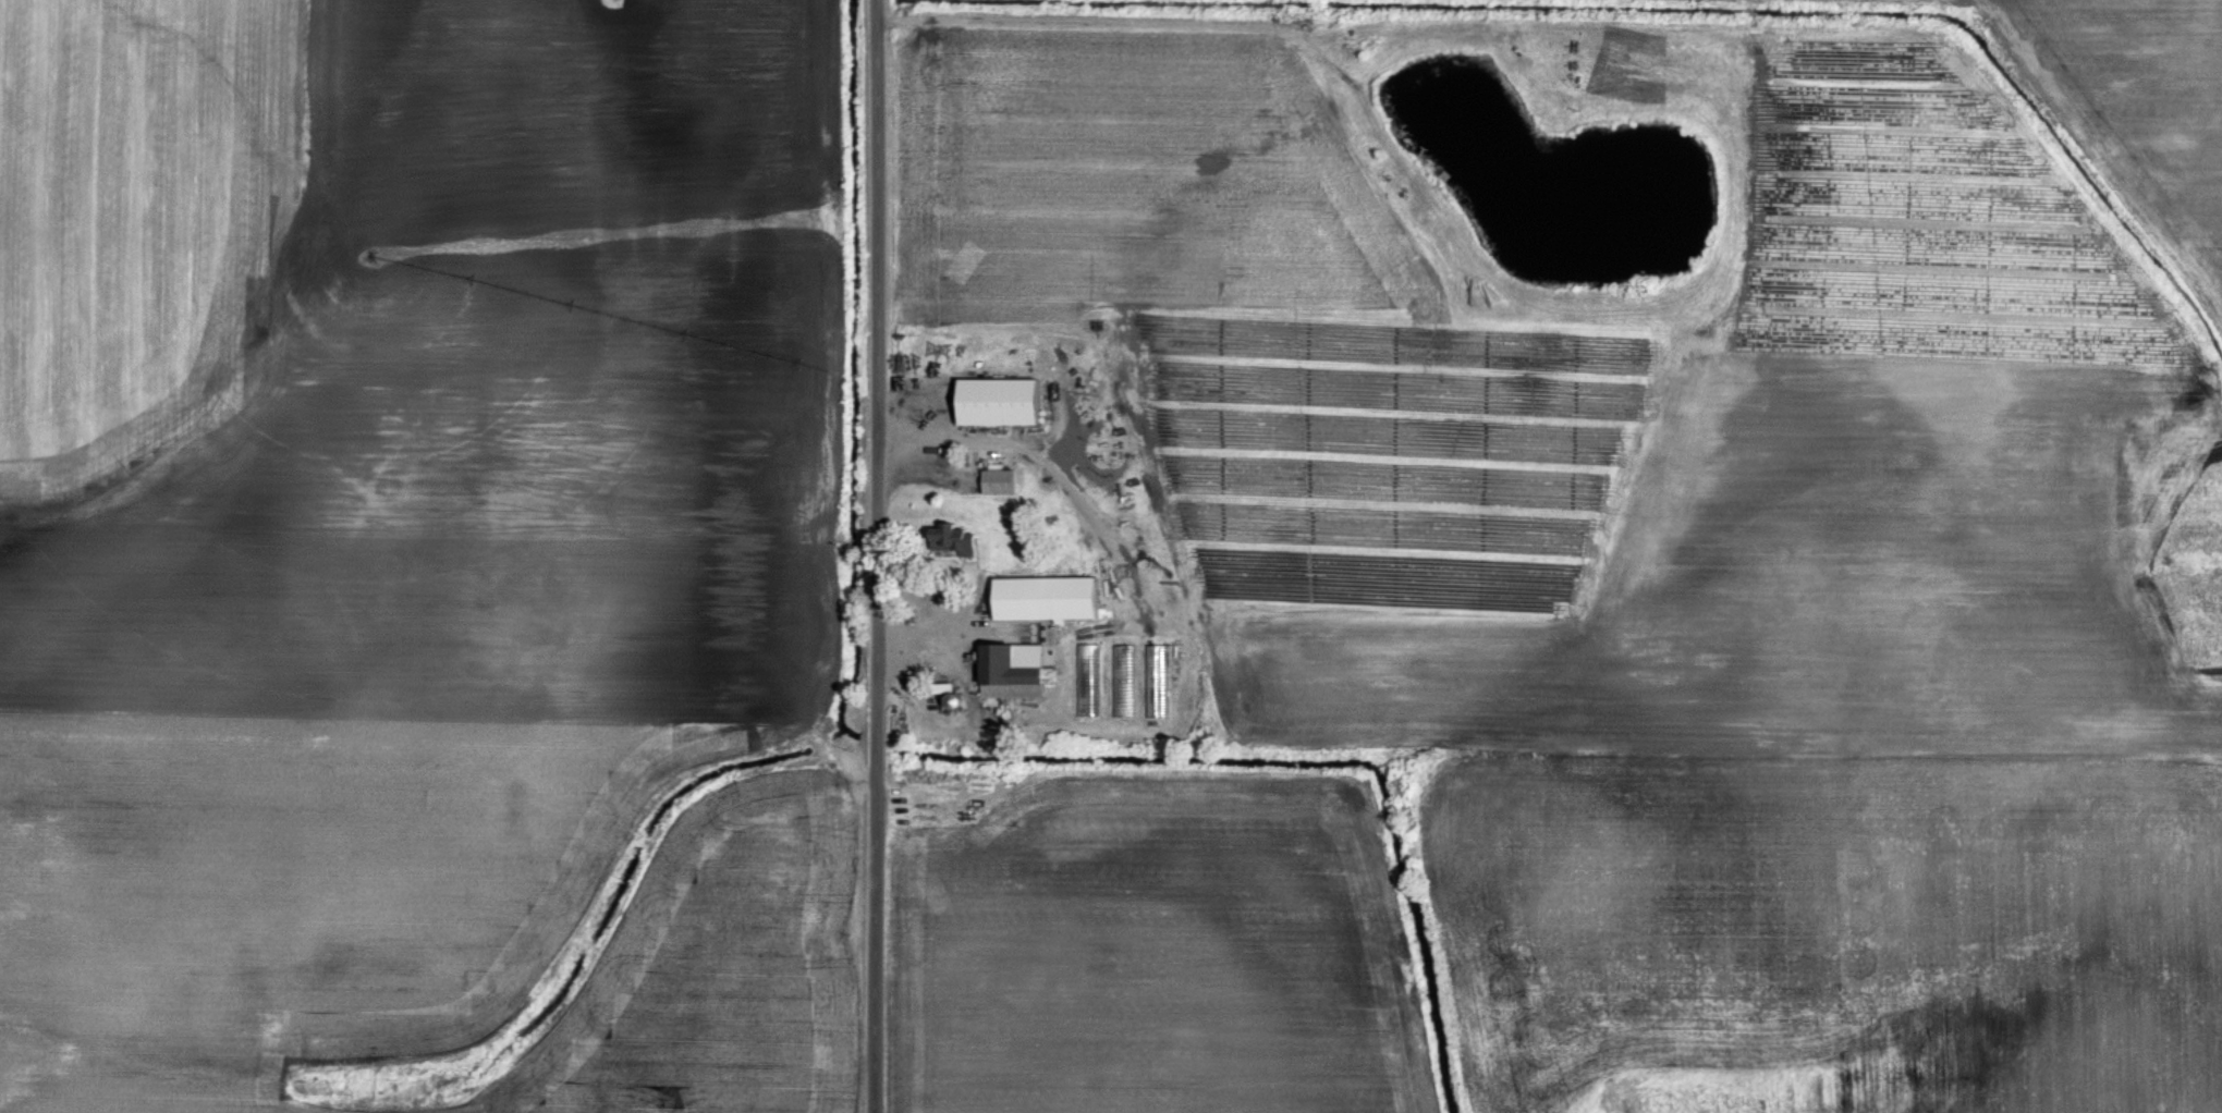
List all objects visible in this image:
building: (999, 401)
building: (998, 480)
building: (952, 539)
road: (877, 555)
building: (1047, 597)
building: (1013, 672)
building: (1152, 680)

